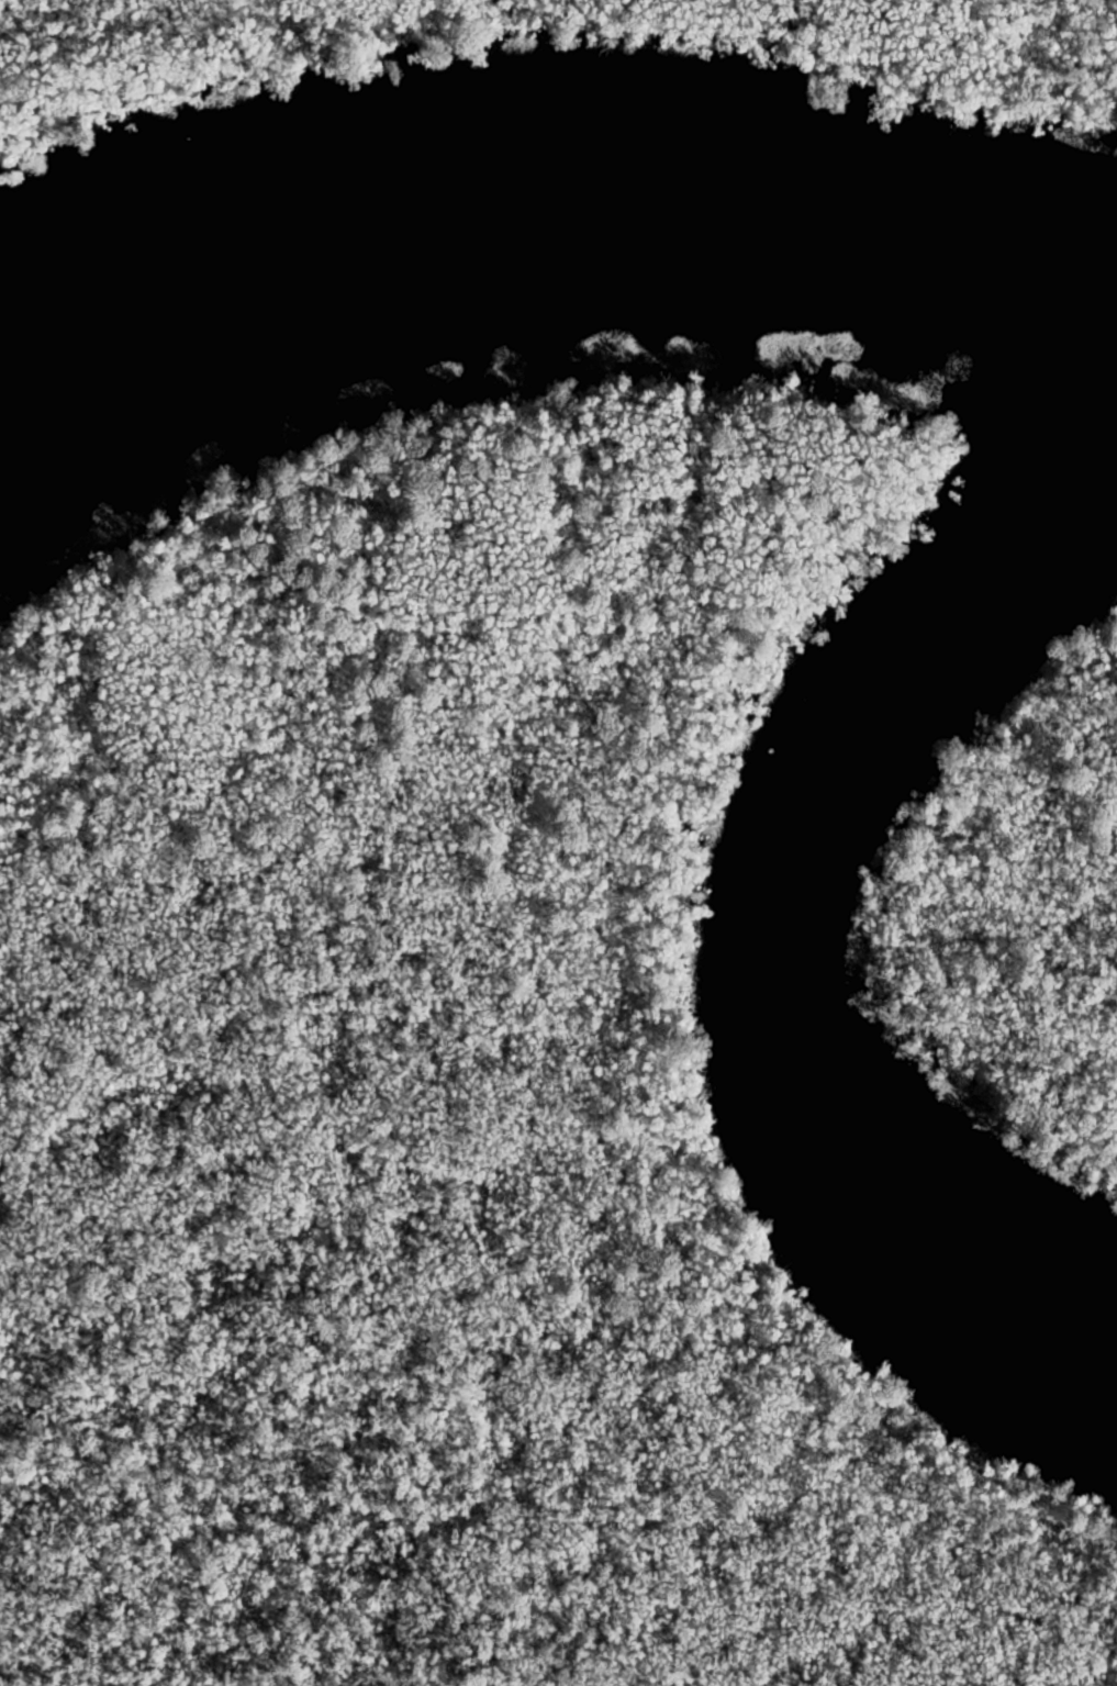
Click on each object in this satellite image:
river: (547, 201)

